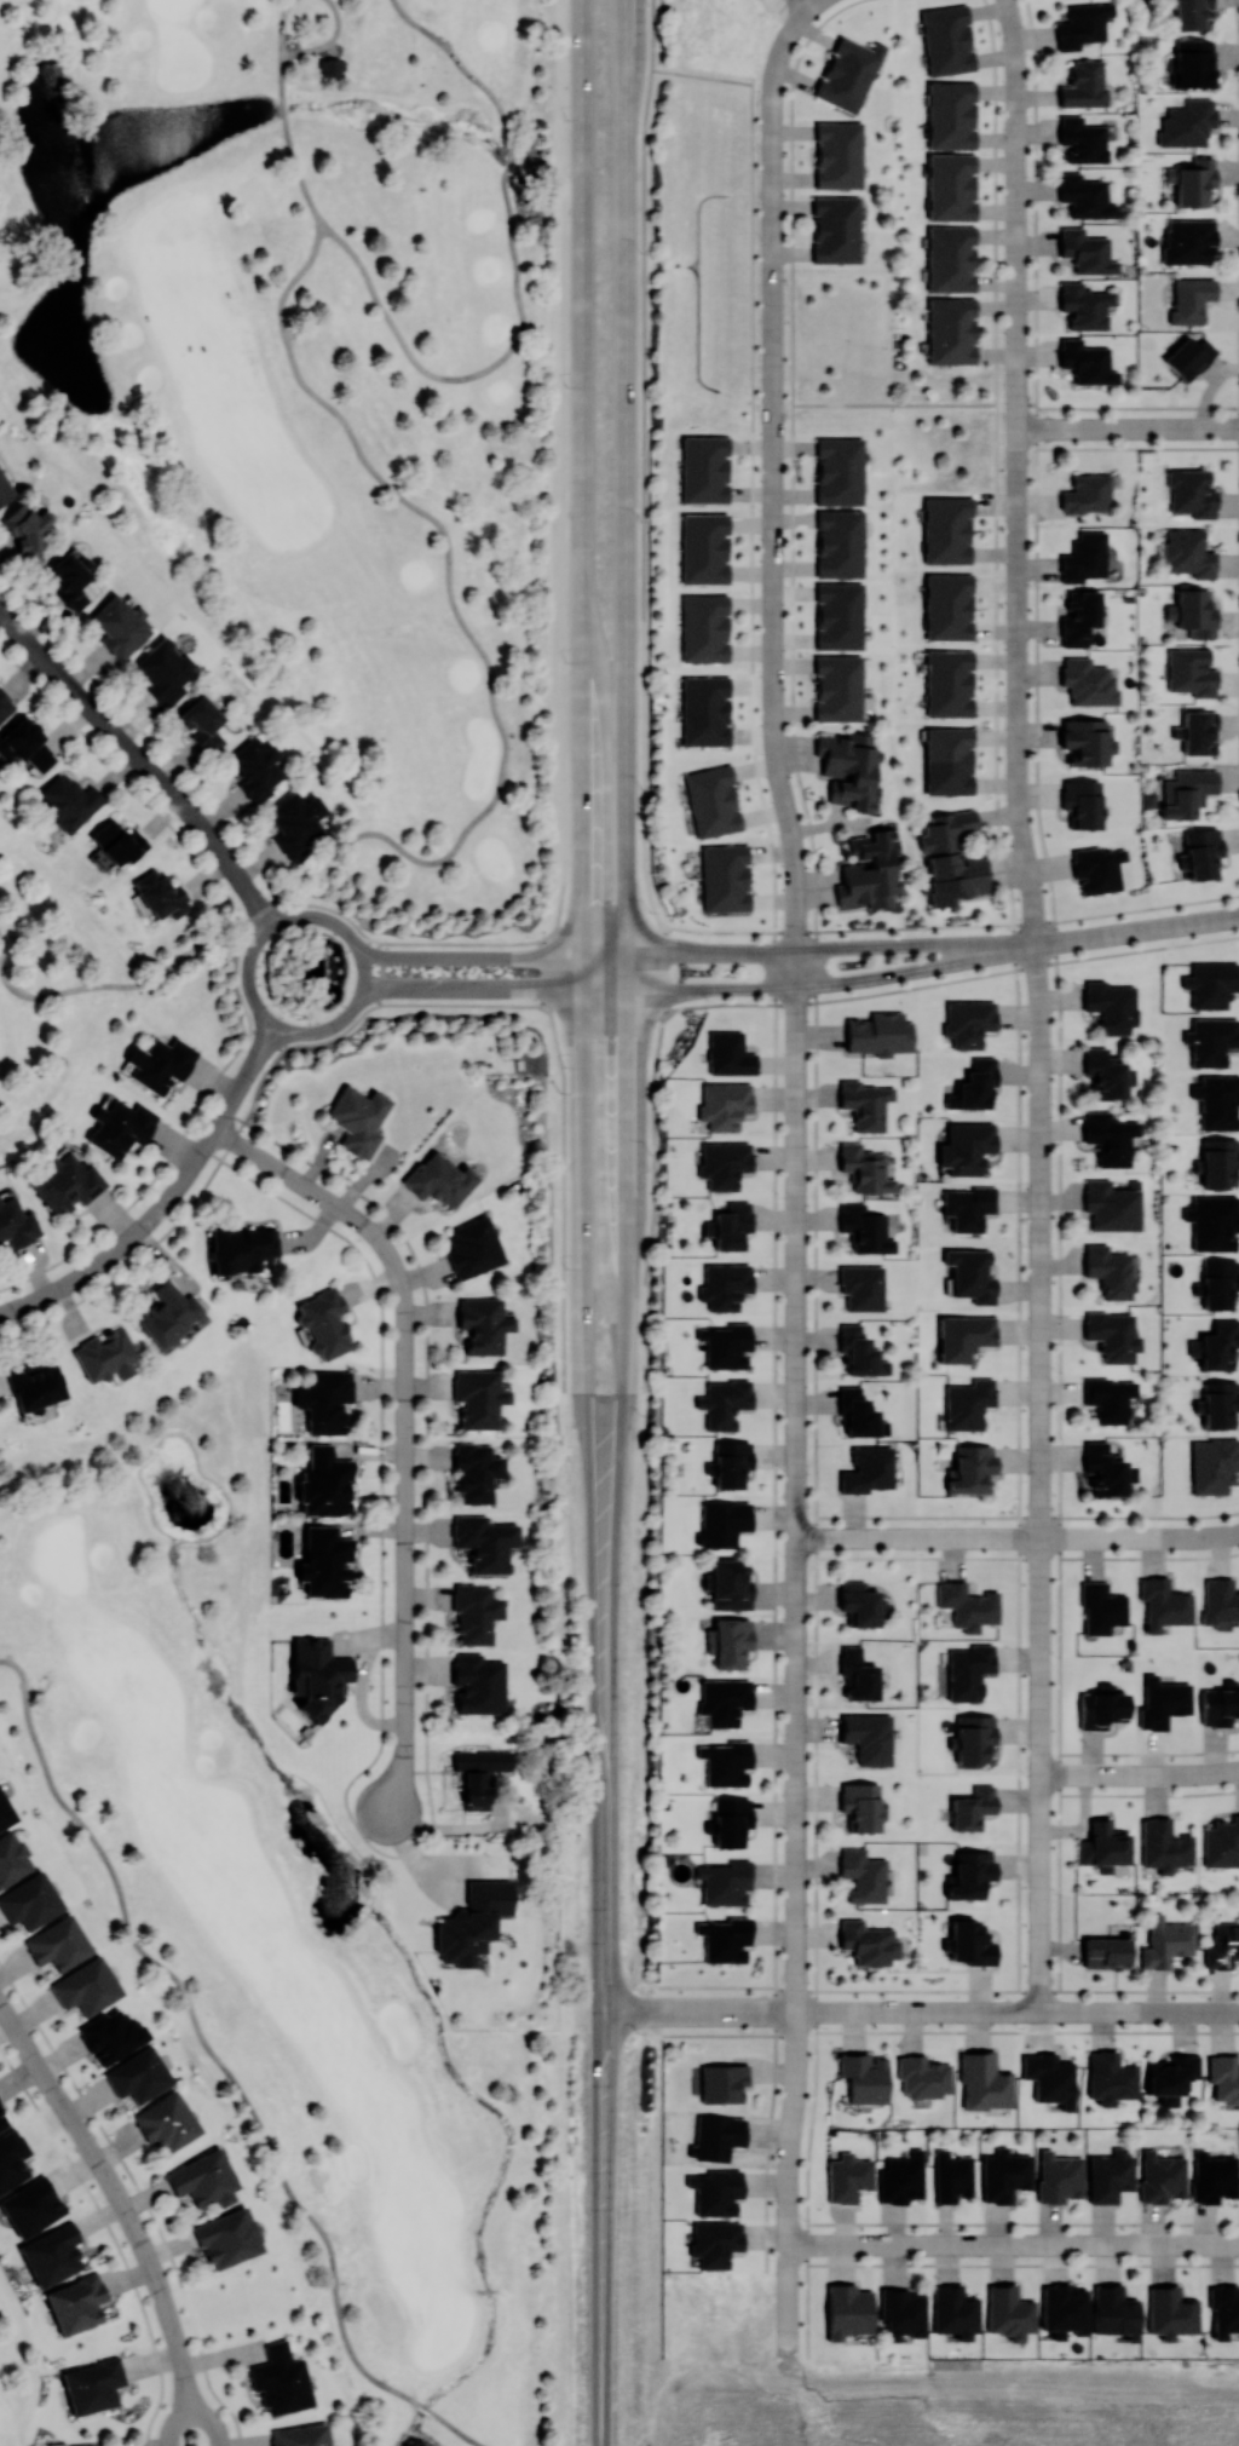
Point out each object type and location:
road: (806, 2)
road: (780, 4)
building: (1189, 13)
building: (1082, 24)
road: (785, 34)
road: (1014, 38)
building: (946, 39)
road: (299, 52)
building: (1192, 63)
building: (332, 69)
road: (467, 70)
building: (848, 73)
road: (702, 75)
building: (1084, 85)
building: (950, 114)
building: (1187, 122)
building: (1082, 139)
road: (288, 142)
building: (837, 154)
road: (511, 166)
road: (771, 173)
building: (1194, 183)
building: (950, 186)
building: (1084, 196)
road: (1016, 224)
building: (835, 229)
building: (1188, 241)
building: (1085, 251)
building: (950, 258)
park: (763, 271)
building: (1191, 299)
building: (1084, 305)
building: (950, 329)
building: (1187, 356)
building: (1085, 362)
road: (468, 376)
road: (1027, 402)
road: (892, 403)
road: (1137, 407)
road: (1128, 428)
road: (1018, 430)
park: (302, 443)
road: (1137, 448)
building: (703, 468)
building: (839, 470)
building: (5, 488)
building: (1191, 493)
road: (582, 494)
building: (1087, 494)
road: (772, 499)
building: (946, 529)
building: (27, 530)
building: (839, 542)
building: (703, 547)
building: (1188, 553)
building: (1084, 557)
building: (68, 581)
building: (947, 605)
building: (1194, 614)
road: (460, 615)
building: (839, 615)
building: (120, 626)
road: (626, 626)
building: (703, 627)
road: (1018, 644)
building: (163, 669)
building: (1191, 672)
building: (1088, 681)
building: (947, 683)
building: (837, 687)
road: (561, 701)
road: (642, 701)
building: (5, 704)
building: (704, 709)
building: (201, 723)
park: (137, 727)
building: (1198, 731)
building: (1084, 741)
building: (27, 746)
building: (947, 760)
road: (143, 761)
building: (255, 767)
building: (848, 770)
building: (1186, 792)
building: (711, 800)
building: (68, 801)
building: (1082, 802)
building: (296, 822)
road: (794, 840)
building: (116, 842)
building: (1201, 852)
building: (951, 857)
building: (1096, 868)
building: (869, 869)
road: (1027, 870)
building: (724, 876)
building: (160, 894)
road: (263, 913)
road: (1201, 921)
road: (953, 923)
road: (1100, 936)
road: (980, 944)
road: (918, 945)
road: (852, 948)
road: (742, 954)
road: (517, 957)
road: (875, 975)
road: (952, 979)
building: (1211, 983)
road: (110, 985)
road: (531, 988)
road: (1016, 994)
road: (1058, 994)
building: (1110, 1005)
road: (336, 1021)
building: (967, 1021)
building: (878, 1034)
park: (658, 1036)
building: (1211, 1040)
building: (727, 1053)
building: (160, 1063)
building: (1105, 1072)
building: (974, 1084)
building: (1216, 1101)
building: (724, 1104)
building: (864, 1104)
building: (358, 1118)
building: (120, 1126)
building: (1108, 1136)
building: (966, 1147)
road: (814, 1161)
building: (1218, 1162)
building: (722, 1163)
building: (864, 1167)
road: (773, 1173)
building: (439, 1179)
building: (67, 1181)
road: (168, 1198)
building: (1111, 1205)
building: (968, 1207)
building: (1212, 1221)
building: (16, 1224)
building: (731, 1225)
building: (864, 1228)
building: (473, 1247)
building: (241, 1248)
building: (1107, 1270)
building: (970, 1274)
building: (1218, 1283)
building: (724, 1285)
building: (861, 1287)
building: (168, 1313)
building: (324, 1322)
building: (483, 1324)
building: (1111, 1335)
building: (963, 1336)
building: (726, 1345)
building: (1218, 1345)
building: (859, 1351)
building: (105, 1354)
building: (35, 1385)
road: (588, 1391)
building: (478, 1397)
building: (1108, 1398)
building: (325, 1400)
building: (722, 1402)
building: (967, 1403)
building: (1218, 1403)
building: (859, 1415)
road: (405, 1425)
building: (730, 1463)
building: (1212, 1464)
building: (970, 1468)
building: (865, 1469)
building: (1103, 1469)
building: (474, 1472)
road: (1039, 1477)
road: (796, 1480)
building: (324, 1483)
road: (615, 1521)
building: (721, 1523)
road: (1199, 1535)
road: (966, 1537)
road: (1147, 1537)
building: (484, 1542)
building: (324, 1561)
building: (730, 1583)
building: (1238, 1594)
building: (1218, 1600)
building: (859, 1601)
building: (1162, 1602)
building: (967, 1605)
building: (1100, 1607)
building: (476, 1613)
building: (731, 1641)
building: (968, 1670)
building: (857, 1674)
building: (318, 1675)
building: (478, 1684)
building: (722, 1700)
building: (1162, 1702)
building: (1220, 1705)
building: (1101, 1707)
building: (1238, 1711)
building: (868, 1737)
building: (974, 1738)
building: (725, 1762)
road: (1140, 1773)
building: (479, 1774)
building: (859, 1805)
building: (972, 1807)
building: (5, 1812)
building: (730, 1820)
building: (1238, 1823)
building: (1221, 1842)
building: (1103, 1844)
building: (1164, 1844)
building: (12, 1858)
building: (969, 1874)
building: (863, 1875)
building: (724, 1881)
building: (30, 1901)
road: (605, 1901)
building: (473, 1922)
park: (304, 1935)
building: (724, 1938)
building: (1165, 1941)
building: (57, 1943)
building: (868, 1943)
building: (969, 1943)
building: (1222, 1945)
building: (1106, 1952)
building: (1238, 1952)
building: (86, 1986)
road: (947, 1990)
road: (630, 2010)
road: (659, 2010)
road: (728, 2010)
road: (1016, 2010)
road: (605, 2020)
road: (1027, 2031)
road: (200, 2032)
road: (726, 2033)
building: (111, 2035)
road: (795, 2066)
building: (138, 2074)
building: (922, 2076)
building: (1222, 2076)
building: (863, 2077)
building: (1110, 2077)
building: (1170, 2077)
building: (1238, 2077)
building: (1049, 2078)
building: (721, 2082)
building: (984, 2082)
building: (2, 2120)
building: (166, 2120)
building: (715, 2136)
building: (12, 2158)
building: (1003, 2174)
building: (951, 2175)
building: (1110, 2175)
building: (1059, 2176)
building: (1160, 2176)
building: (1212, 2176)
building: (847, 2177)
building: (901, 2177)
building: (203, 2179)
building: (715, 2191)
road: (786, 2197)
park: (133, 2198)
building: (30, 2205)
road: (126, 2211)
building: (227, 2237)
road: (603, 2237)
building: (714, 2241)
road: (1013, 2243)
building: (52, 2254)
building: (1238, 2301)
building: (76, 2302)
building: (1062, 2309)
building: (847, 2310)
building: (953, 2310)
building: (1223, 2310)
building: (901, 2312)
building: (1008, 2312)
building: (1114, 2312)
building: (1170, 2312)
road: (786, 2318)
park: (16, 2364)
building: (281, 2379)
building: (93, 2384)
park: (601, 2384)
road: (786, 2404)
road: (425, 2408)
road: (459, 2433)
building: (299, 2435)

